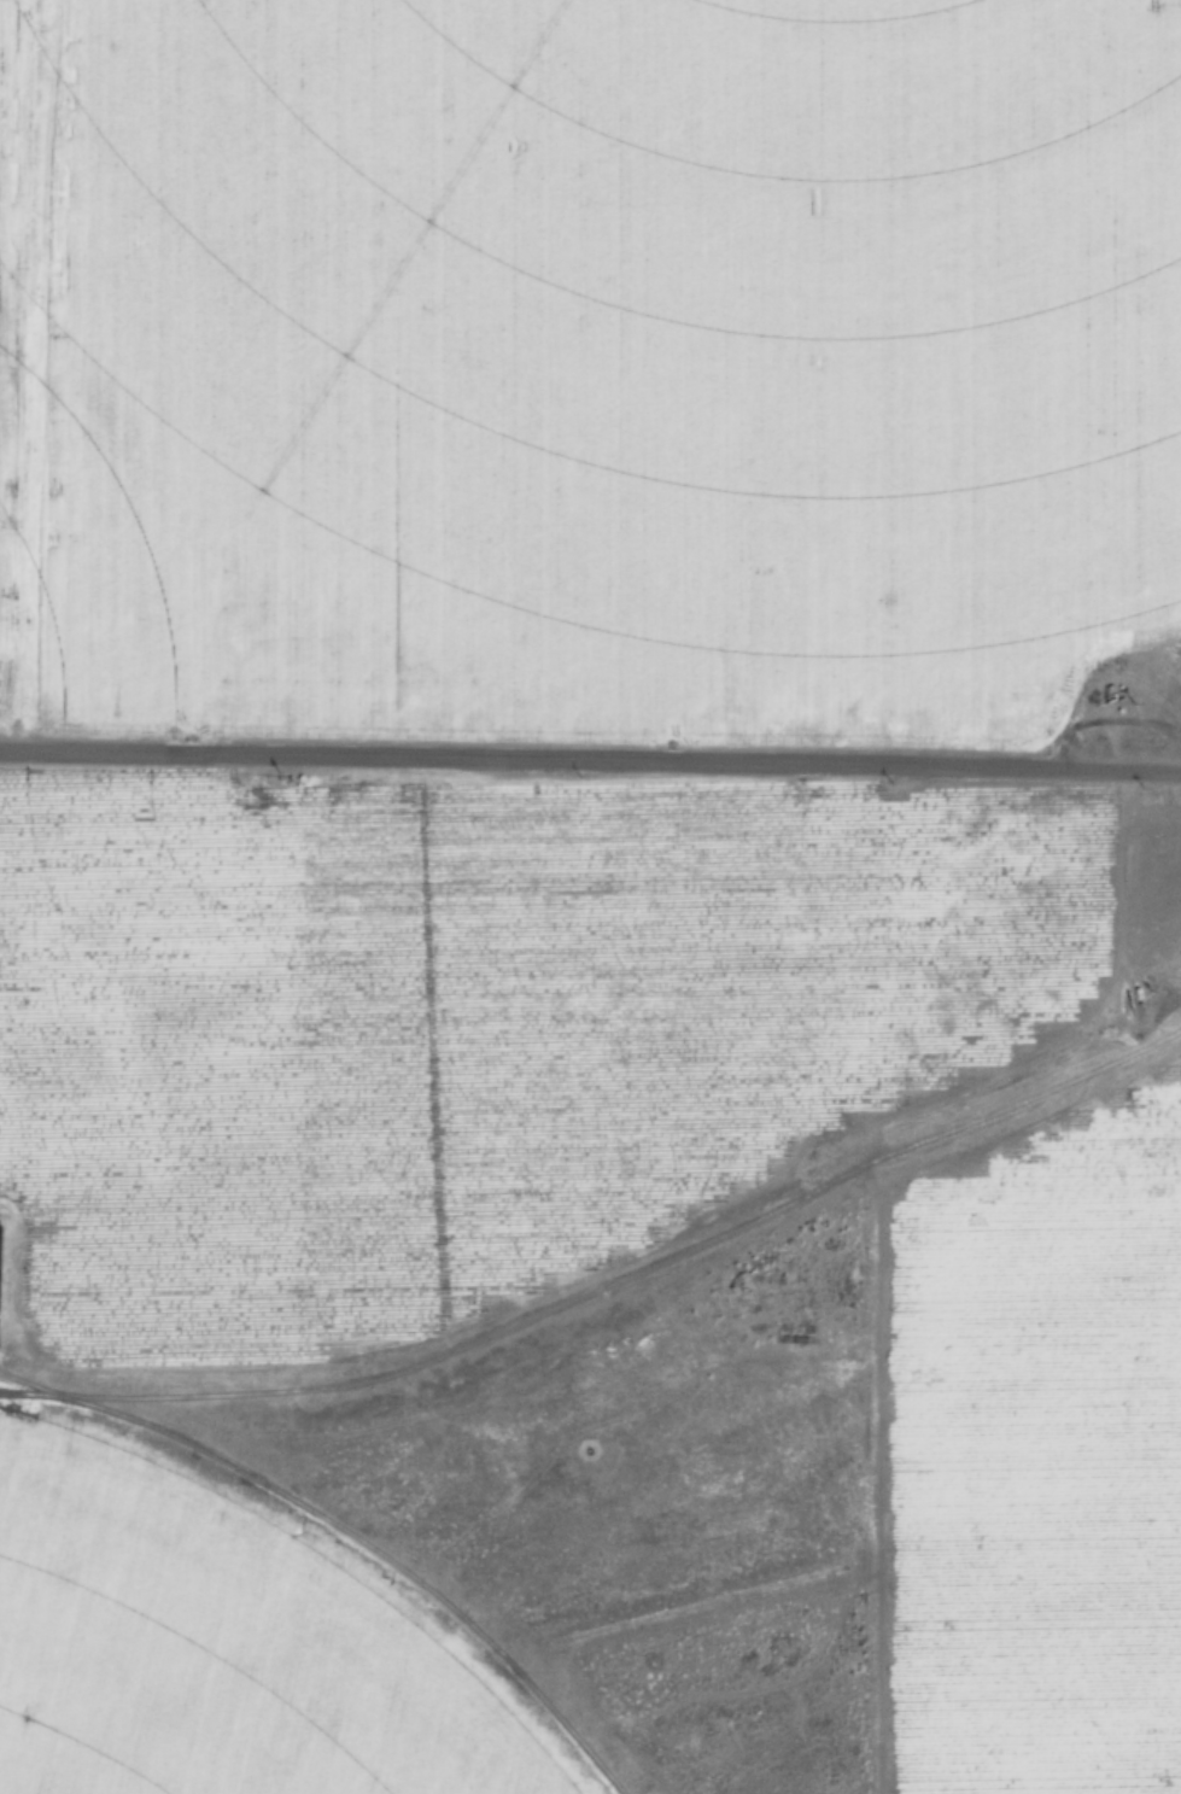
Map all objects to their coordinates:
crop: (637, 333)
crop: (70, 589)
road: (590, 756)
crop: (396, 1027)
crop: (1066, 1437)
crop: (212, 1648)
building: (66, 1789)

